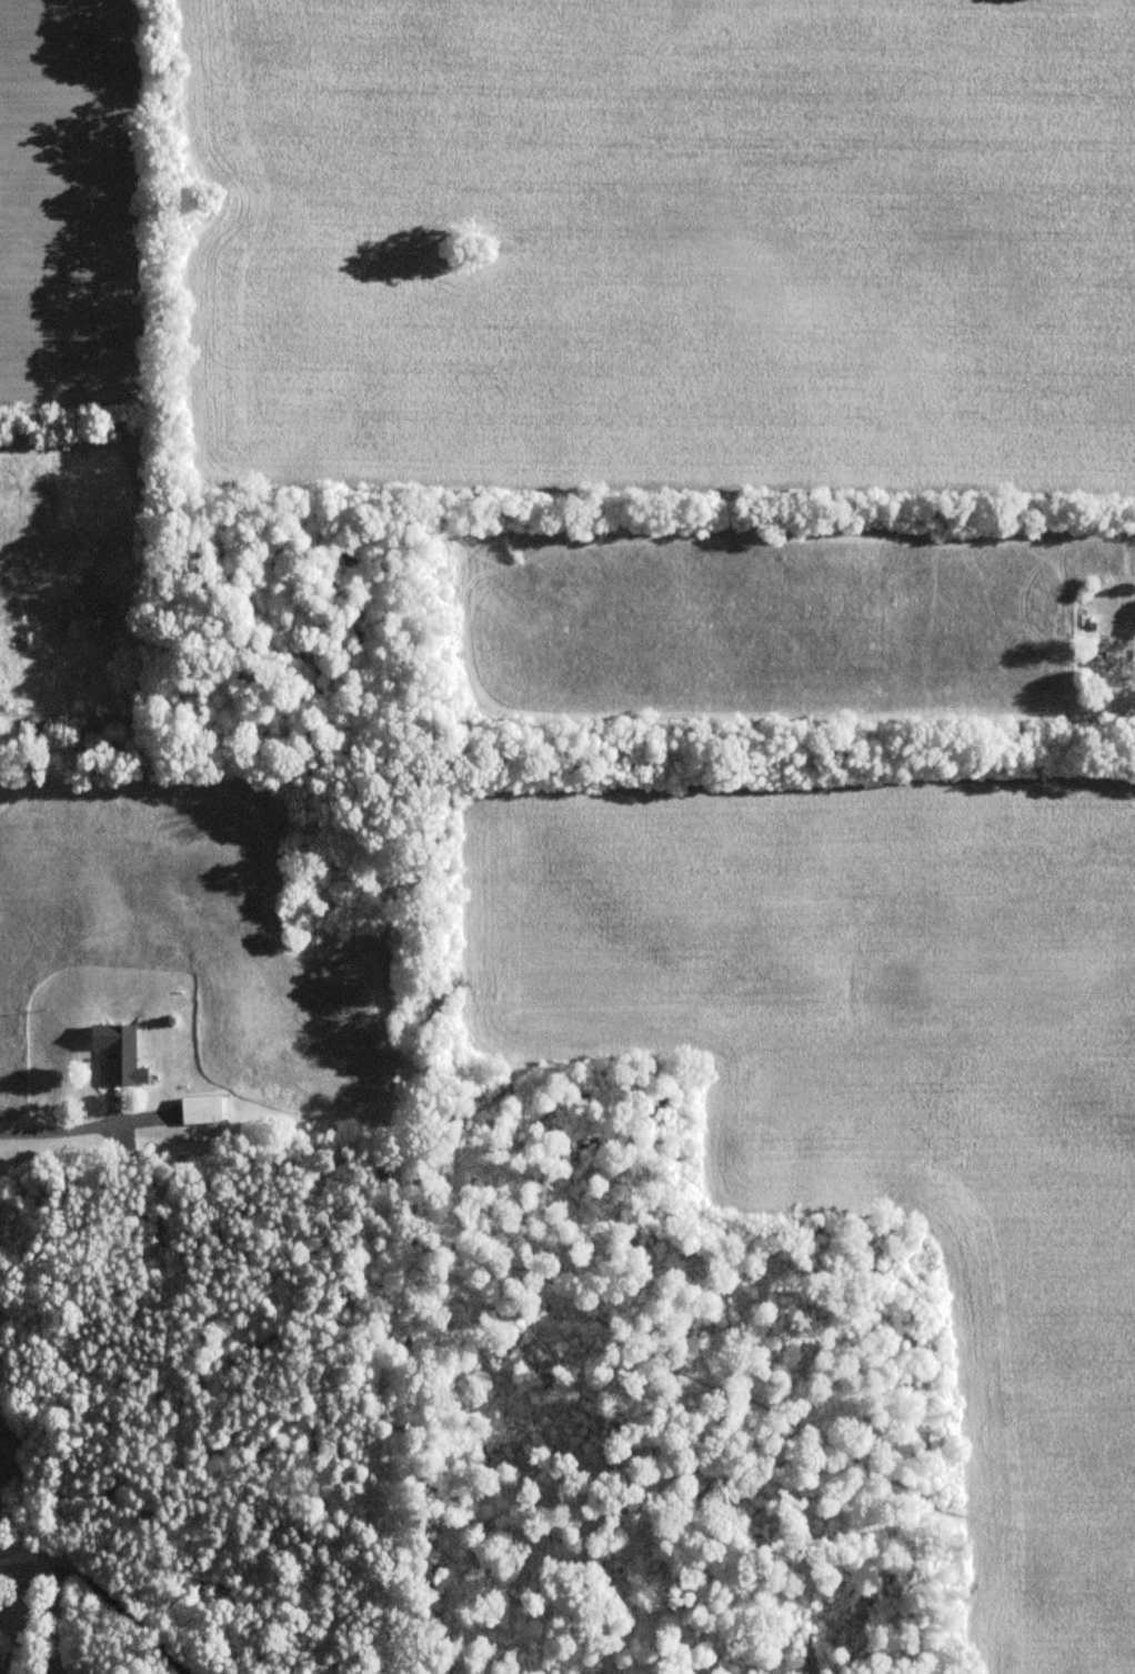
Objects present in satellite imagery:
building: (120, 1053)
building: (204, 1109)
road: (41, 1132)
road: (52, 1594)
road: (125, 1613)

